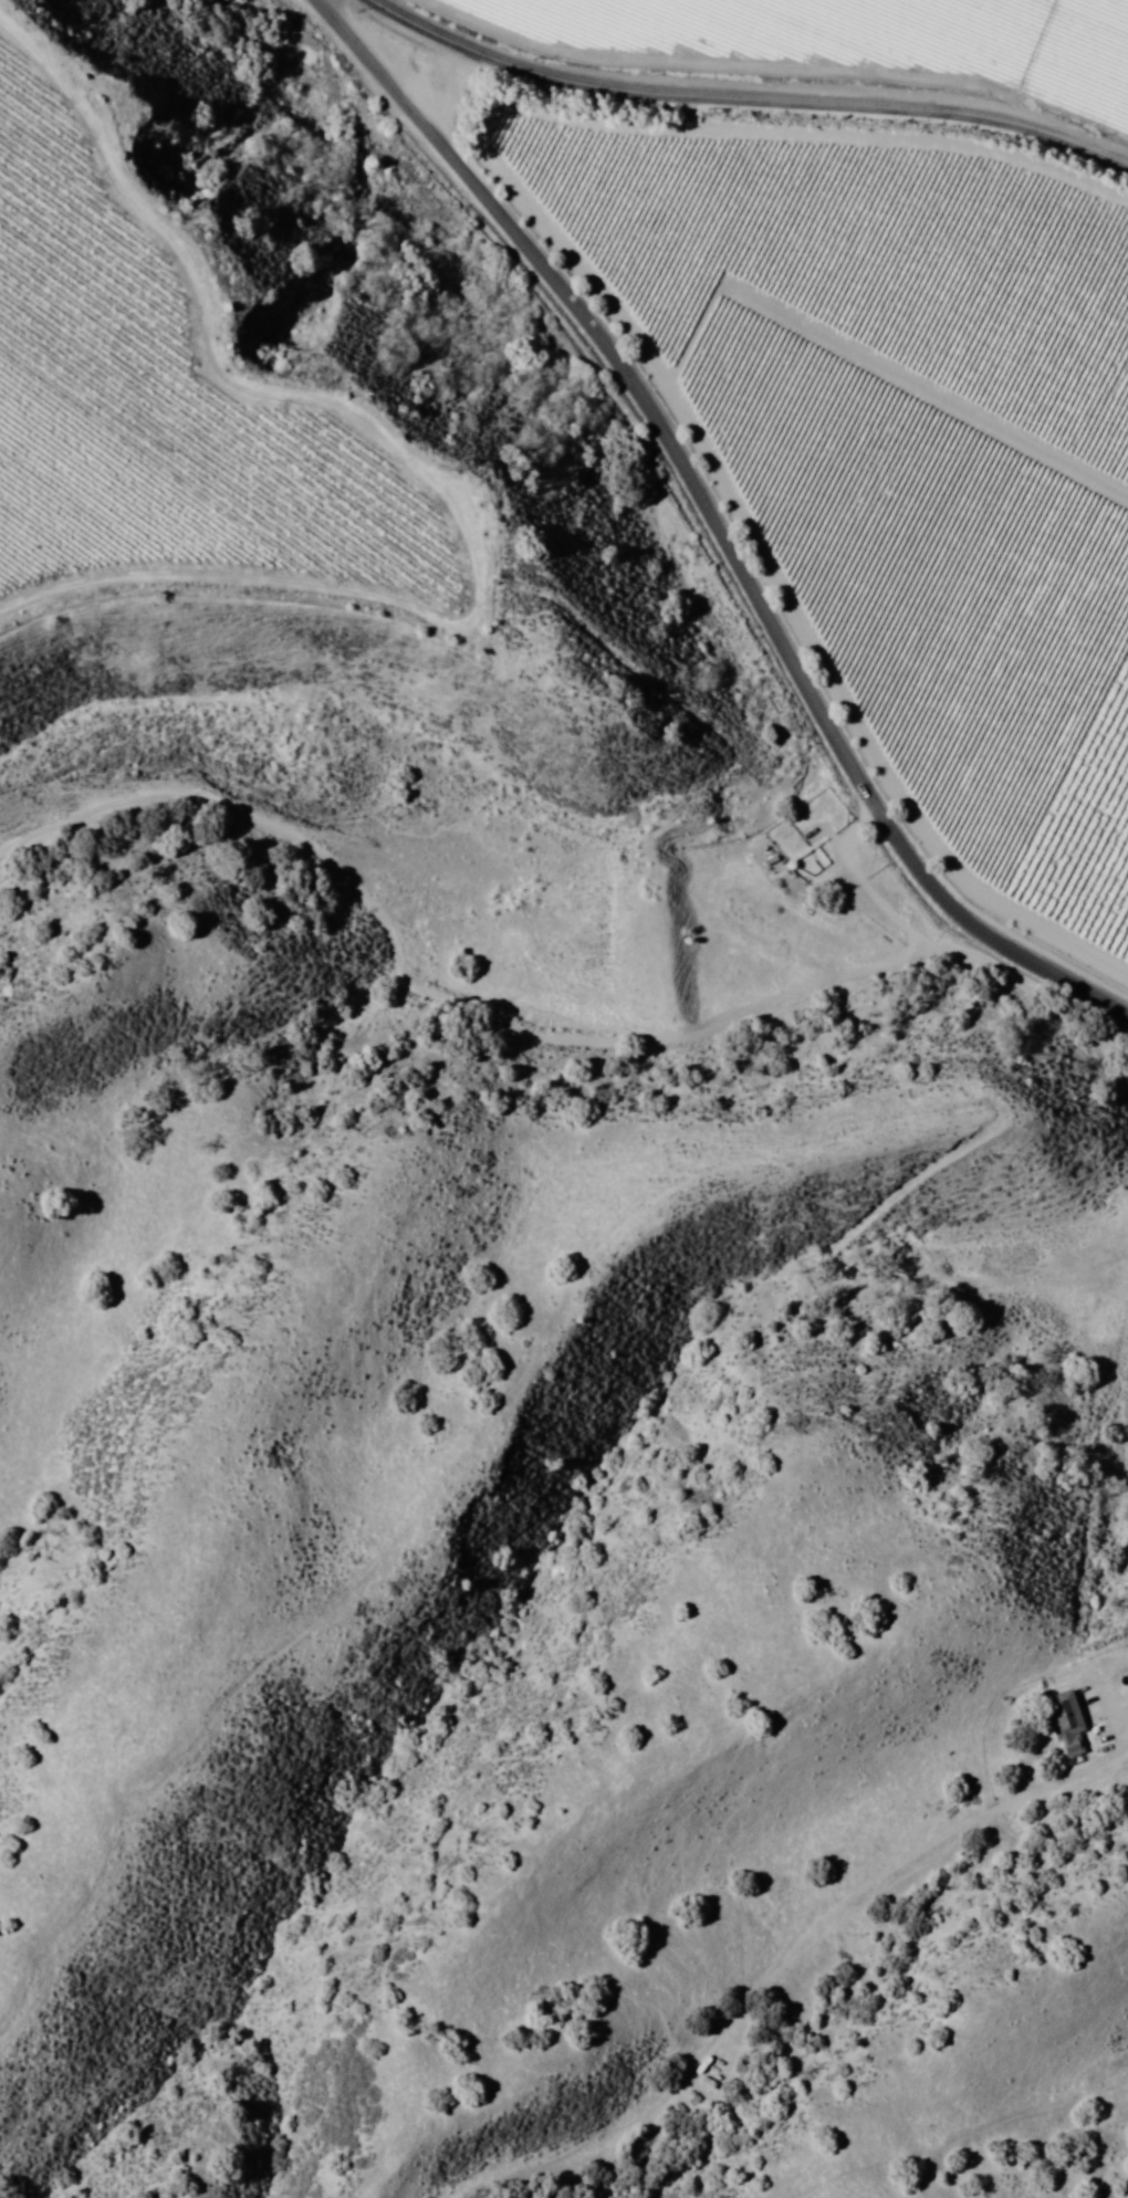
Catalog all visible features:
road: (748, 94)
road: (716, 524)
road: (508, 1025)
building: (1067, 1721)

